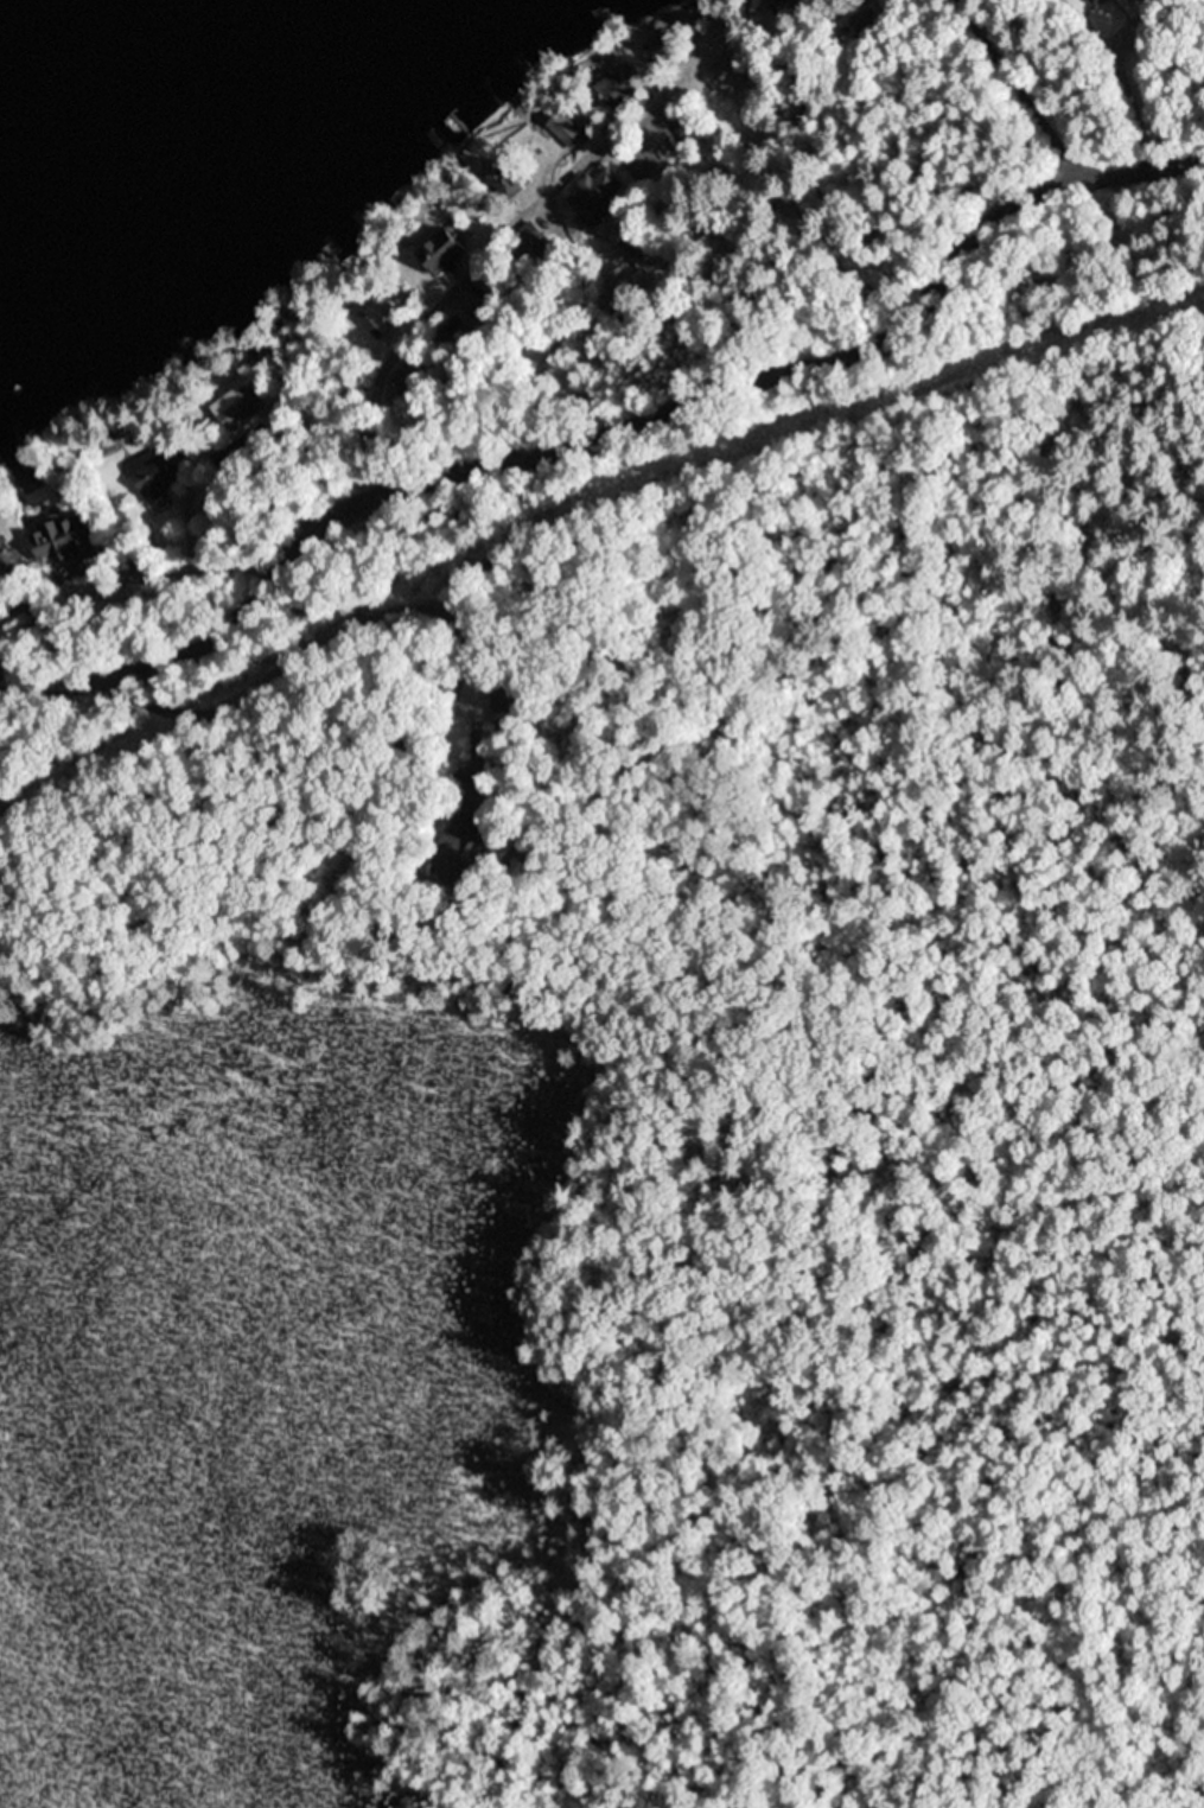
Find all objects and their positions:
building: (1096, 0)
building: (786, 6)
building: (1164, 15)
building: (865, 25)
building: (662, 49)
road: (1174, 83)
building: (619, 89)
road: (967, 103)
building: (572, 133)
building: (512, 179)
building: (599, 196)
road: (548, 199)
building: (530, 238)
building: (645, 249)
building: (445, 252)
building: (480, 288)
building: (381, 316)
building: (629, 319)
building: (460, 332)
building: (270, 354)
building: (409, 376)
building: (294, 384)
building: (244, 407)
road: (607, 438)
building: (107, 441)
building: (160, 471)
building: (32, 473)
building: (235, 477)
building: (333, 483)
building: (75, 541)
building: (8, 558)
building: (140, 575)
building: (37, 638)
building: (439, 707)
building: (511, 708)
building: (426, 737)
building: (523, 756)
building: (465, 848)
building: (524, 862)

